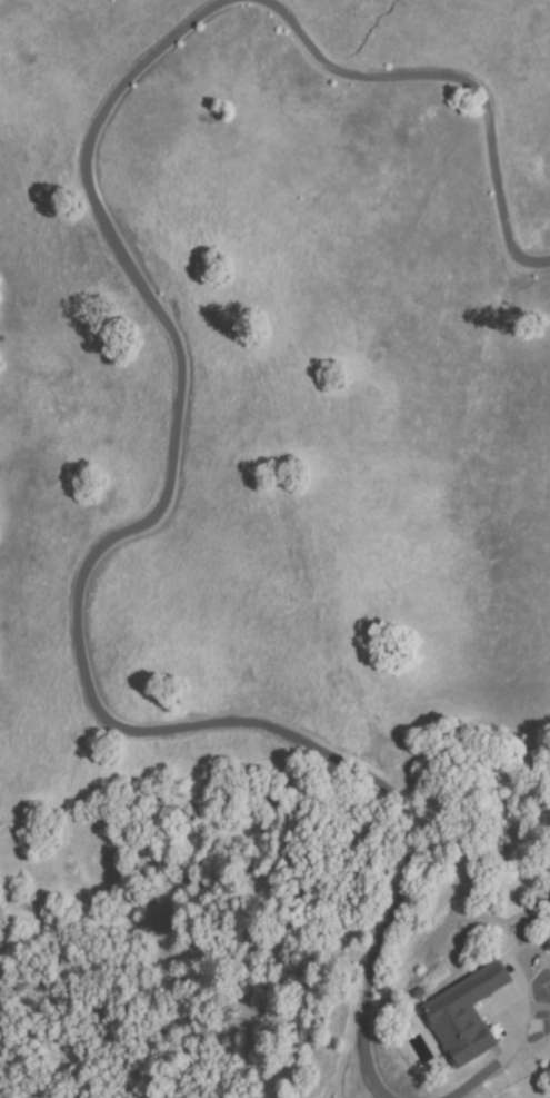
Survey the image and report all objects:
building: (466, 1015)

